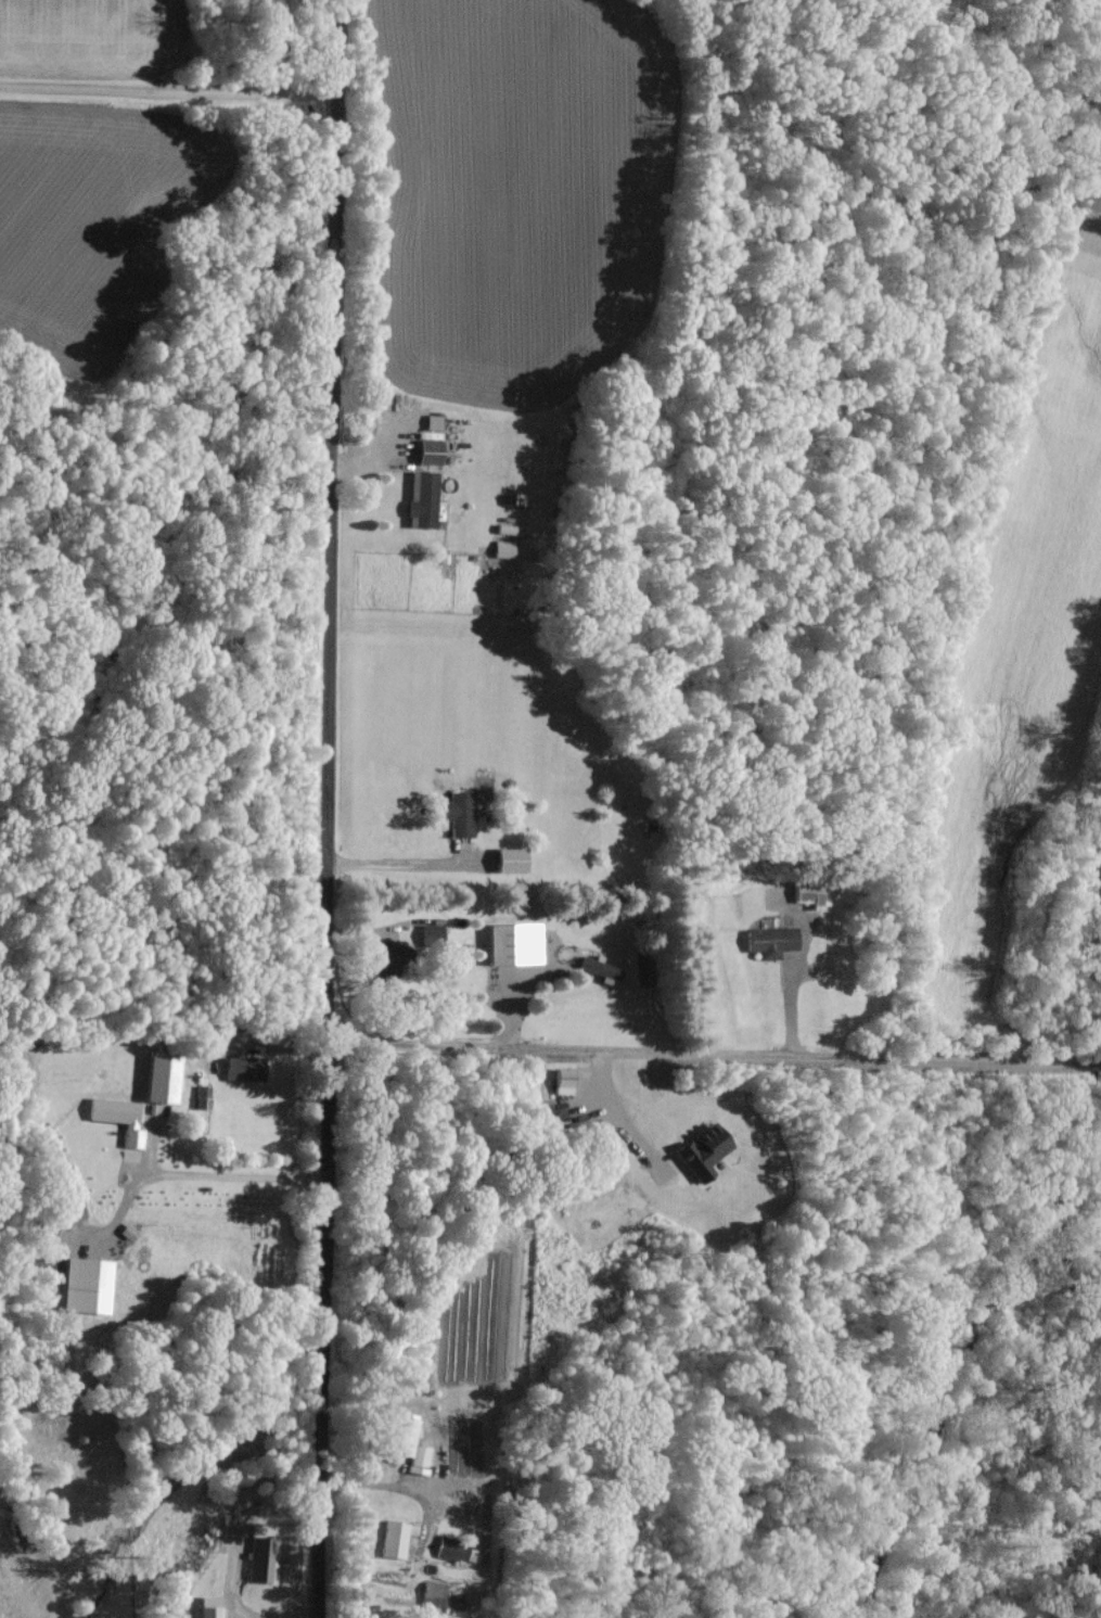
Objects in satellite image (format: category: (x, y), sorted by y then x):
road: (170, 58)
building: (430, 421)
building: (424, 447)
building: (420, 499)
building: (498, 547)
road: (332, 575)
building: (455, 813)
building: (505, 858)
road: (402, 866)
building: (766, 940)
building: (508, 943)
building: (596, 968)
road: (785, 1001)
road: (714, 1062)
building: (247, 1067)
building: (166, 1076)
building: (552, 1080)
building: (204, 1096)
building: (121, 1117)
building: (696, 1151)
road: (234, 1173)
building: (90, 1285)
road: (322, 1384)
building: (399, 1434)
road: (383, 1483)
building: (392, 1537)
building: (446, 1547)
building: (260, 1559)
building: (428, 1592)
building: (205, 1606)

